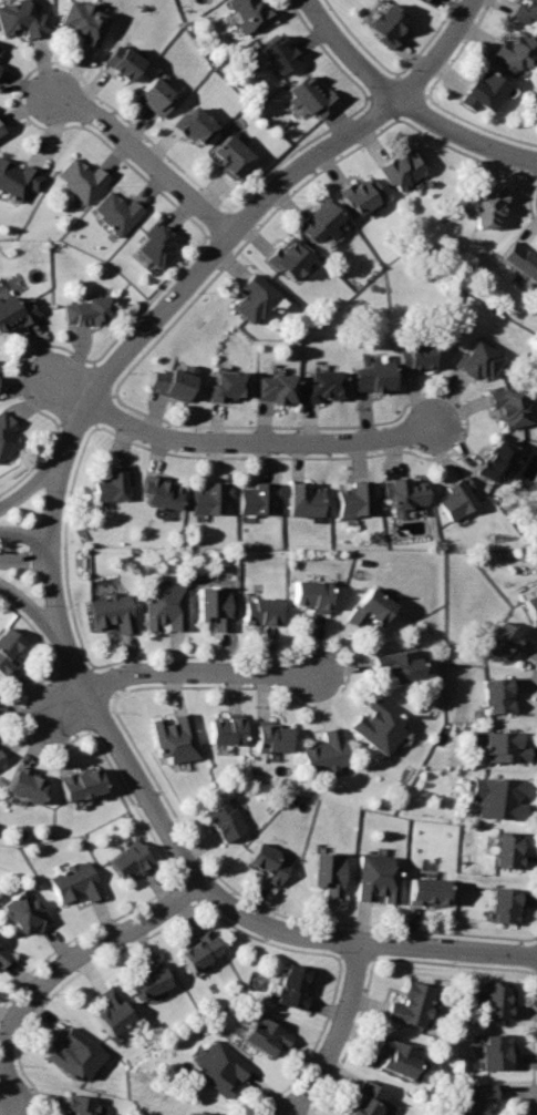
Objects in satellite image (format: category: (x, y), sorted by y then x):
building: (422, 0)
building: (424, 0)
building: (524, 12)
building: (248, 14)
building: (22, 18)
building: (81, 20)
building: (388, 27)
road: (353, 50)
road: (440, 51)
building: (514, 51)
building: (0, 52)
building: (279, 54)
building: (121, 61)
building: (482, 91)
building: (154, 99)
building: (312, 99)
building: (195, 125)
building: (0, 131)
road: (465, 135)
road: (145, 155)
building: (231, 155)
building: (402, 167)
building: (81, 178)
building: (18, 180)
building: (359, 195)
building: (486, 209)
building: (116, 213)
building: (317, 223)
building: (156, 246)
building: (288, 259)
building: (520, 260)
building: (254, 300)
building: (18, 308)
building: (87, 310)
building: (412, 357)
building: (477, 360)
building: (371, 379)
building: (169, 380)
road: (66, 386)
building: (226, 386)
building: (320, 388)
building: (275, 389)
building: (508, 406)
building: (7, 434)
road: (73, 439)
road: (262, 444)
building: (497, 461)
building: (110, 487)
building: (161, 493)
building: (404, 495)
building: (209, 499)
building: (304, 500)
building: (354, 500)
building: (255, 501)
building: (456, 501)
road: (25, 530)
road: (27, 557)
building: (528, 590)
building: (310, 593)
building: (530, 603)
building: (214, 605)
building: (366, 606)
building: (166, 607)
building: (261, 610)
building: (111, 611)
road: (45, 614)
building: (497, 638)
building: (8, 646)
building: (394, 665)
road: (203, 672)
building: (496, 693)
road: (68, 709)
building: (379, 726)
building: (223, 732)
building: (271, 738)
building: (172, 739)
building: (499, 745)
building: (326, 753)
building: (2, 760)
building: (79, 784)
building: (23, 786)
building: (500, 798)
building: (226, 820)
building: (508, 850)
building: (126, 860)
building: (268, 860)
building: (327, 872)
building: (376, 877)
building: (73, 883)
building: (428, 889)
building: (507, 904)
building: (24, 910)
road: (360, 941)
building: (196, 950)
building: (3, 960)
road: (63, 963)
building: (146, 980)
building: (292, 984)
building: (495, 998)
building: (411, 1003)
building: (109, 1009)
building: (264, 1034)
road: (341, 1034)
building: (495, 1050)
building: (72, 1052)
building: (397, 1054)
building: (220, 1066)
building: (475, 1098)
building: (365, 1099)
building: (76, 1105)
building: (199, 1113)

